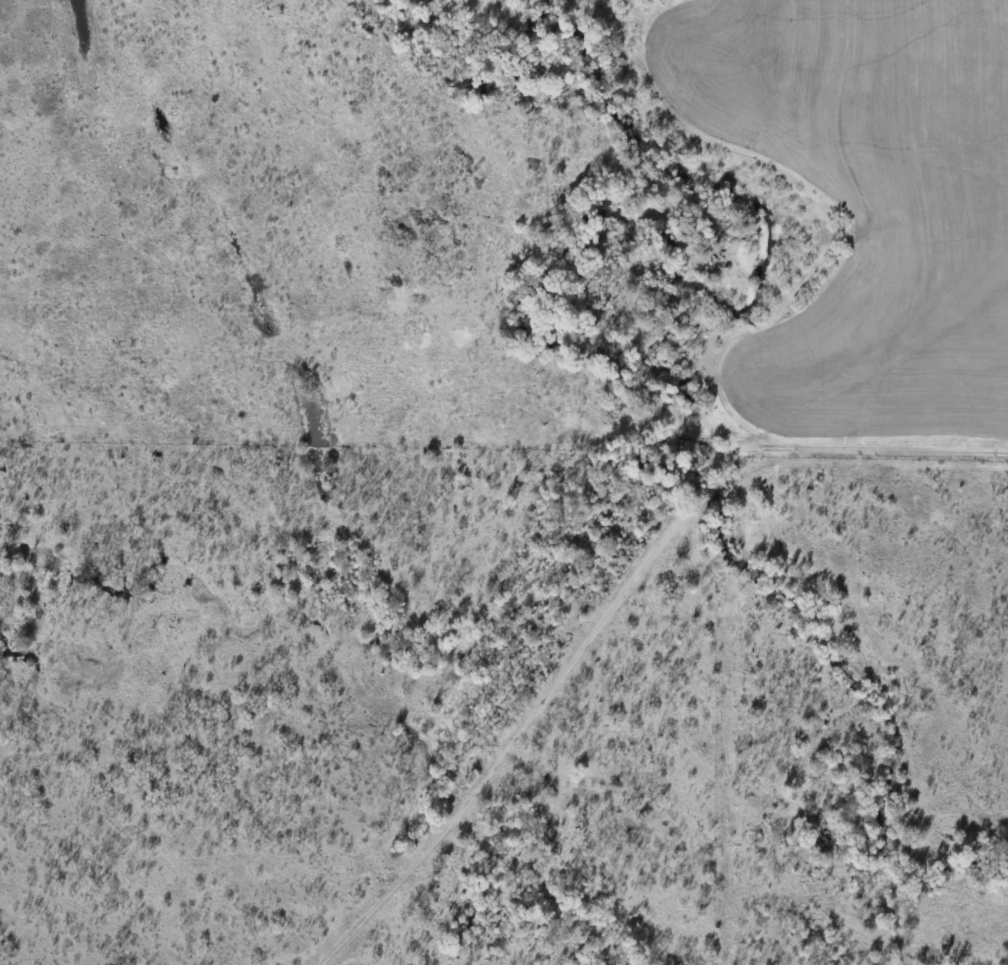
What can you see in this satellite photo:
road: (809, 432)
road: (453, 723)

